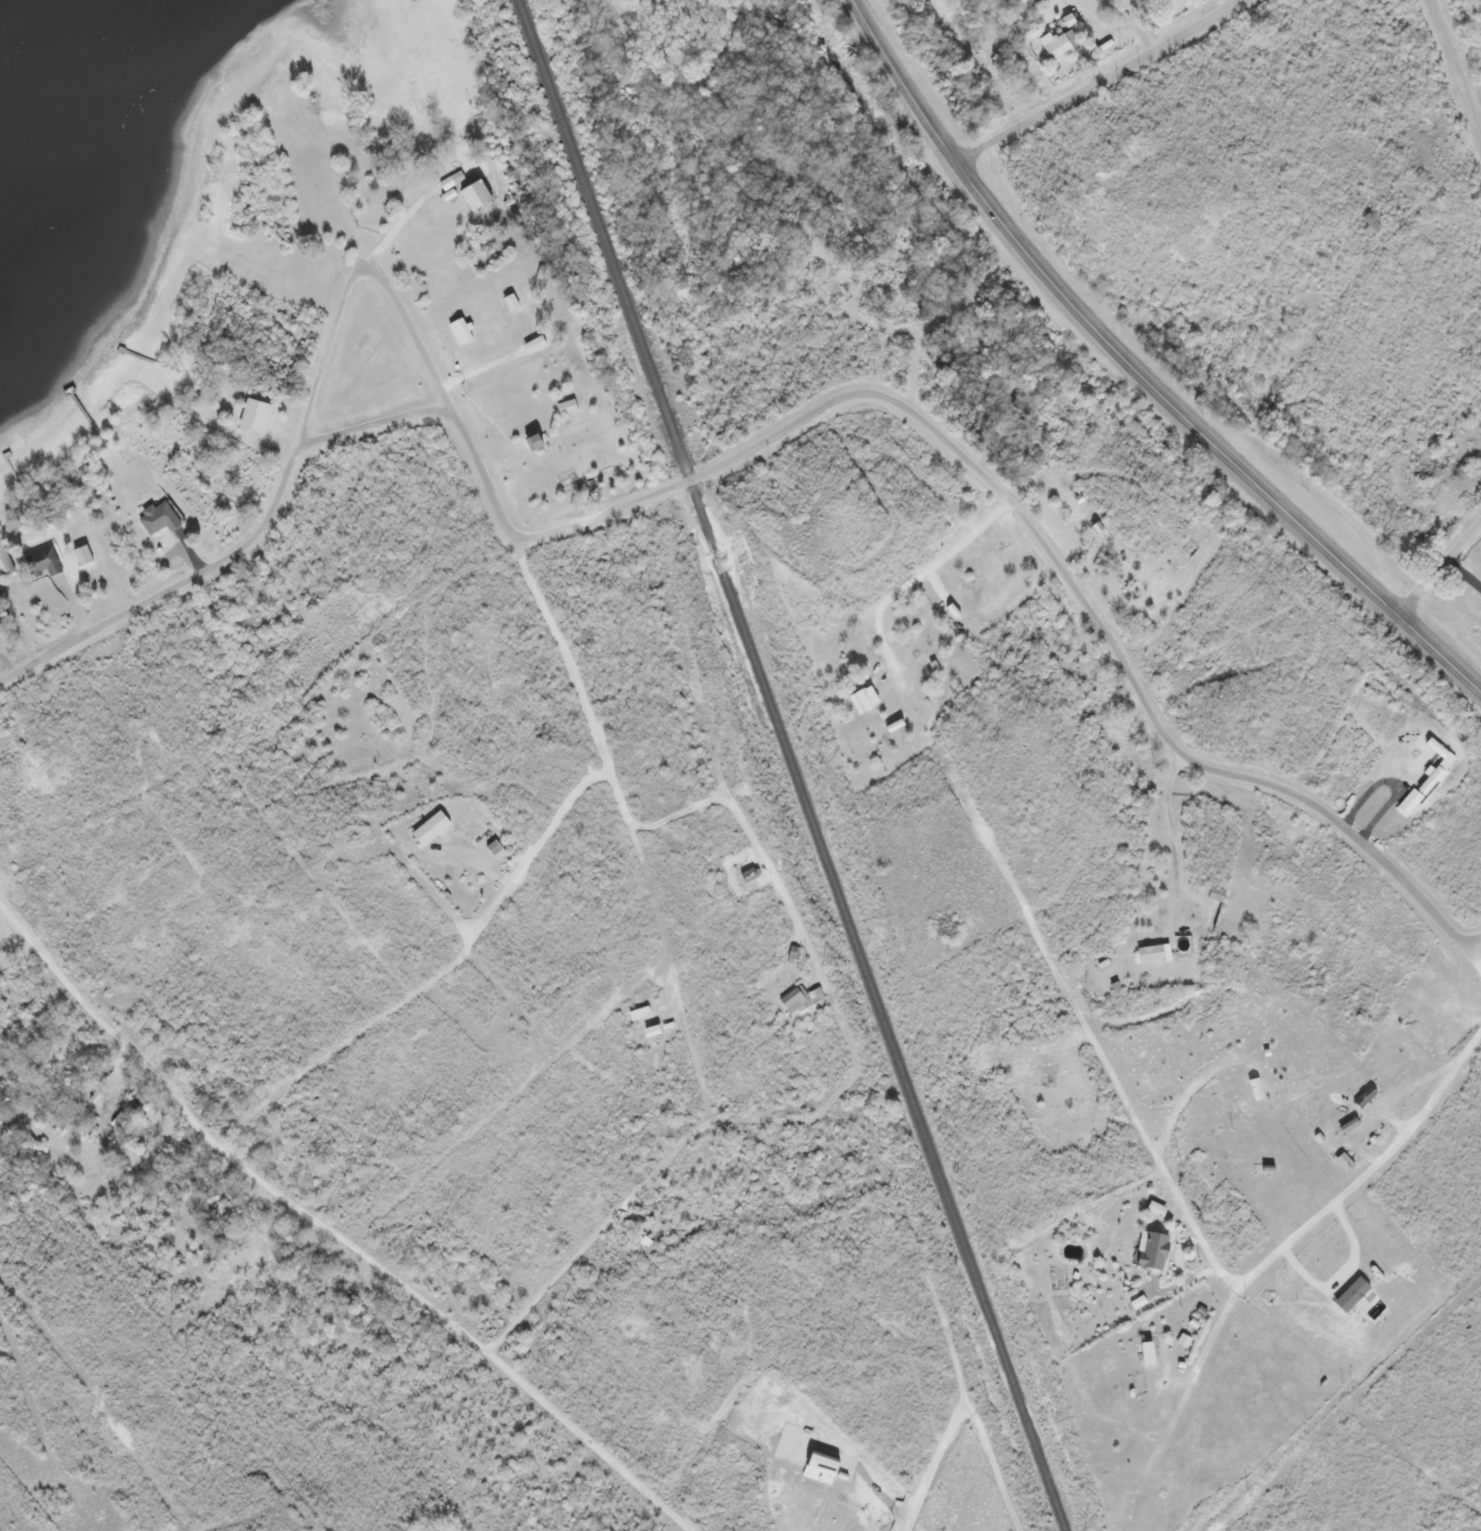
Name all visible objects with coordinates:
building: (1106, 1)
building: (1057, 44)
road: (1453, 68)
road: (1099, 81)
building: (475, 195)
building: (1368, 223)
road: (361, 272)
building: (511, 303)
building: (460, 330)
building: (533, 344)
road: (1138, 371)
building: (565, 406)
building: (256, 415)
road: (279, 490)
road: (709, 511)
building: (158, 517)
building: (1097, 526)
road: (1041, 545)
building: (82, 554)
building: (5, 561)
building: (46, 561)
road: (1441, 571)
building: (863, 699)
building: (894, 725)
building: (1436, 747)
railway: (792, 765)
building: (1433, 776)
building: (1410, 800)
building: (430, 828)
building: (494, 848)
building: (747, 875)
building: (1216, 894)
building: (1186, 929)
building: (1153, 952)
road: (1475, 956)
building: (1102, 963)
building: (1114, 985)
building: (816, 995)
building: (793, 998)
building: (650, 1031)
building: (1265, 1052)
building: (1255, 1088)
building: (1364, 1096)
building: (1337, 1112)
building: (1347, 1124)
building: (1343, 1162)
road: (1166, 1177)
building: (1155, 1208)
building: (640, 1222)
road: (330, 1232)
building: (645, 1242)
building: (1152, 1249)
road: (549, 1283)
building: (1137, 1301)
building: (1193, 1323)
building: (1146, 1352)
building: (820, 1467)
road: (930, 1470)

